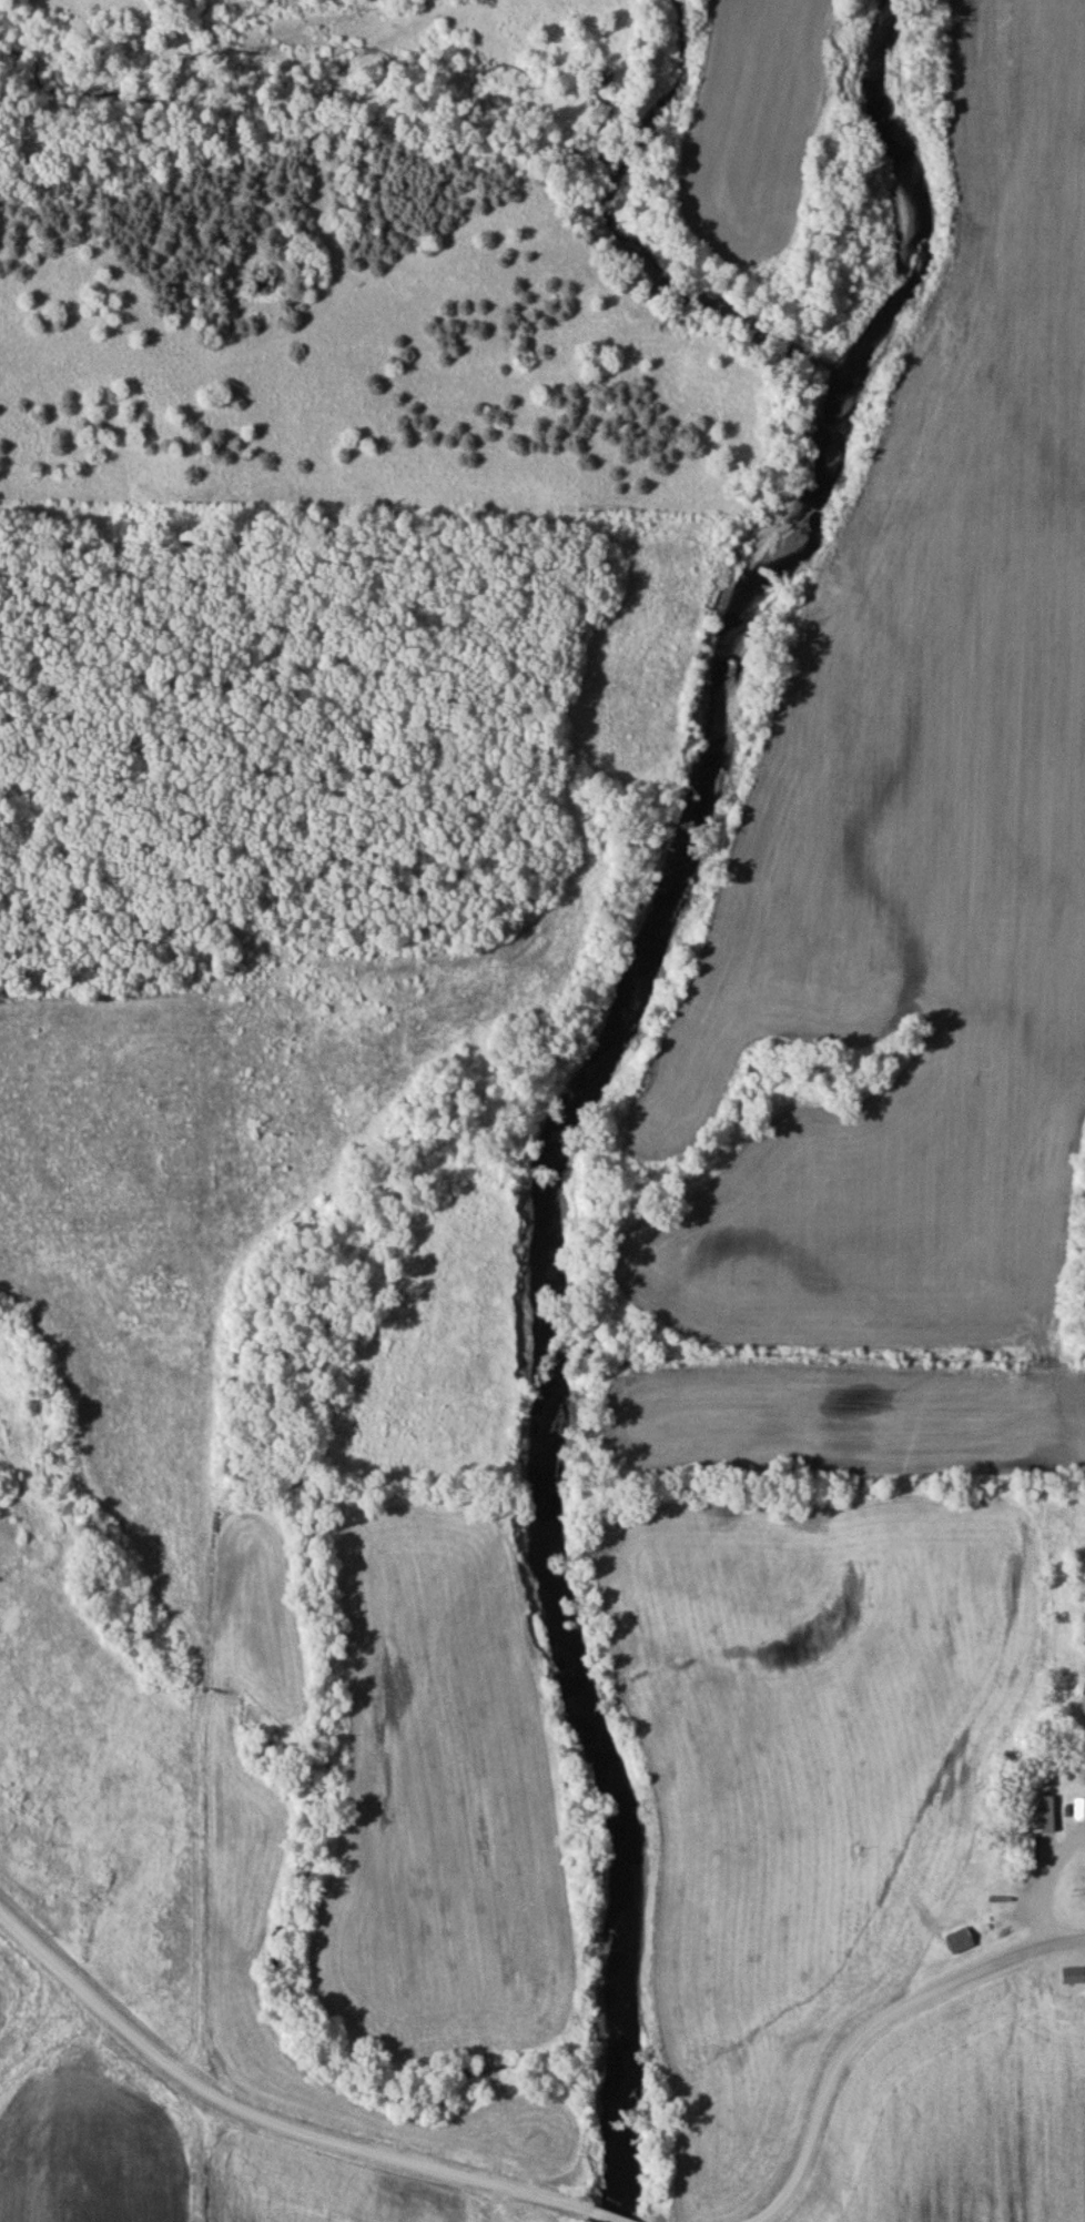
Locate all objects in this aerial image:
building: (1081, 1809)
building: (1043, 1815)
building: (1074, 1974)
road: (870, 2029)
road: (265, 2115)
road: (610, 2215)

